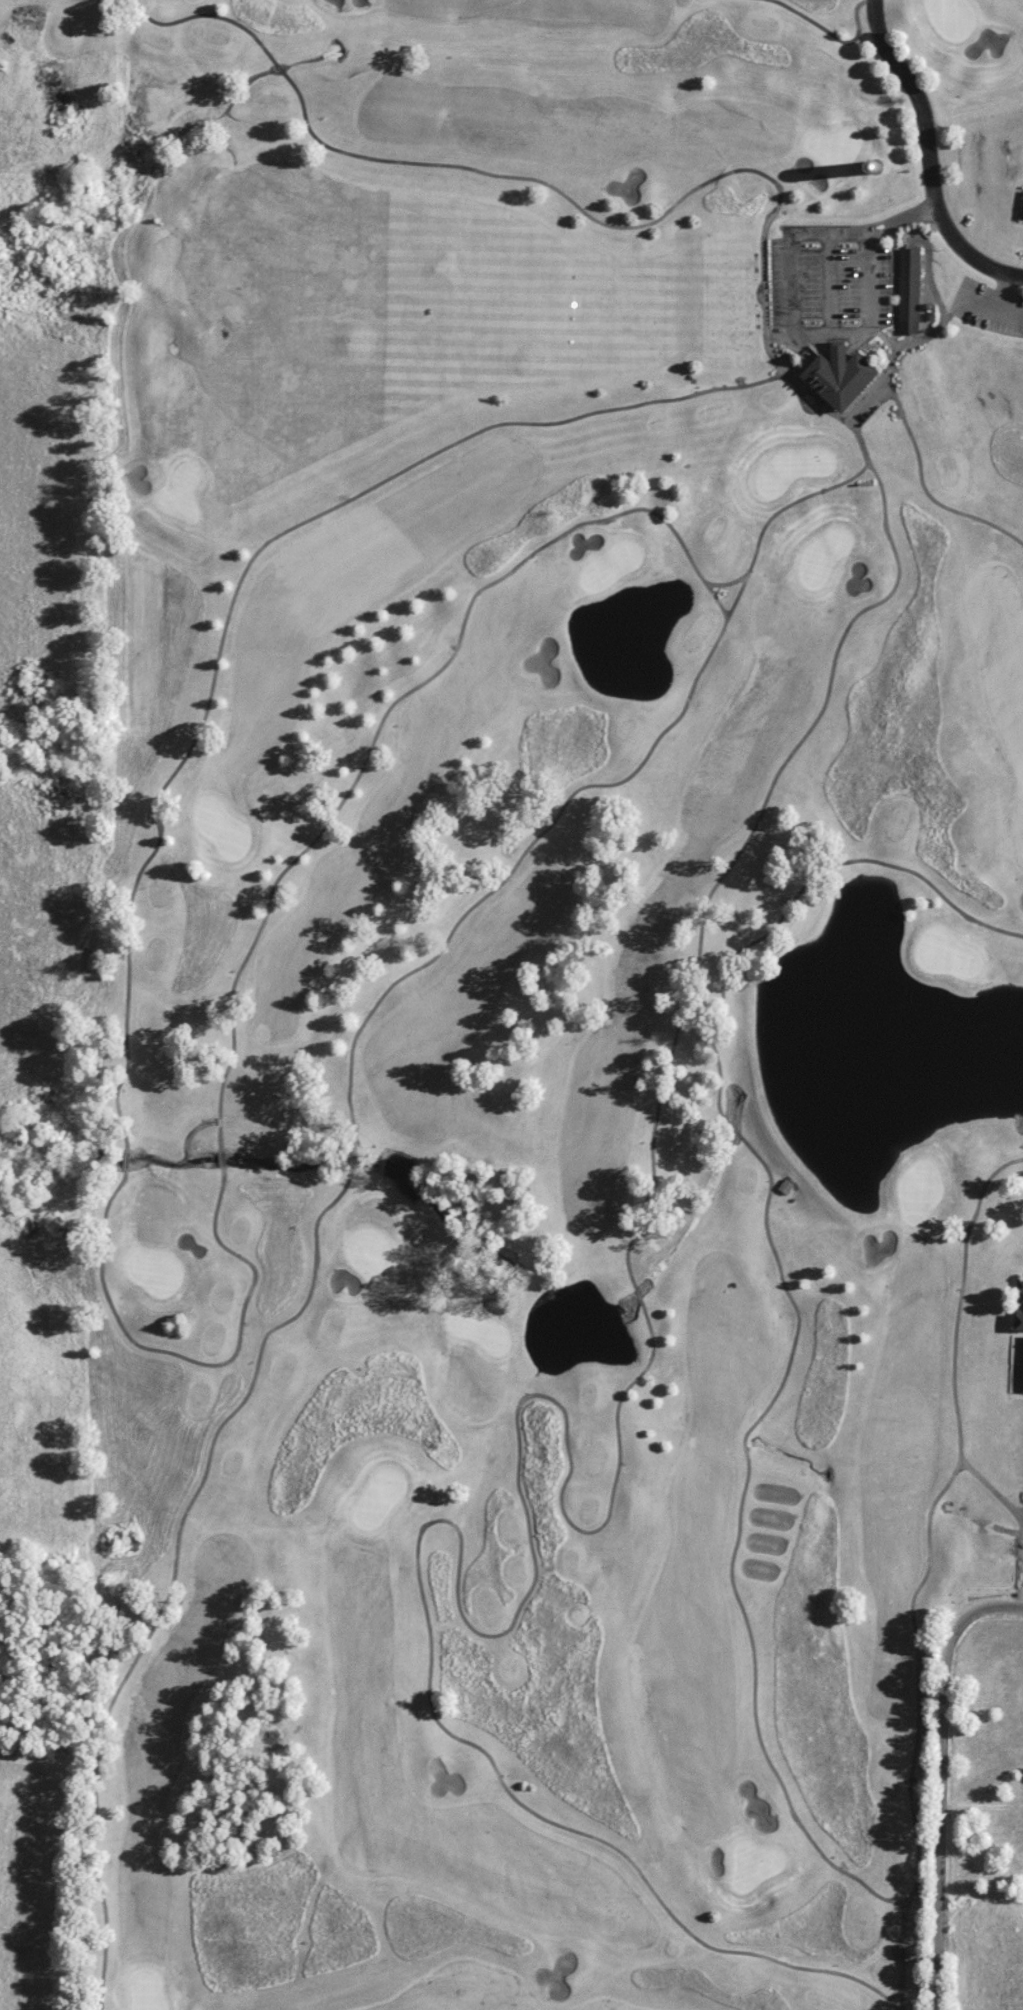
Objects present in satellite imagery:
road: (796, 12)
road: (854, 36)
road: (931, 155)
building: (873, 166)
road: (565, 196)
building: (1019, 213)
road: (828, 275)
parking lot: (828, 277)
road: (929, 280)
building: (903, 290)
road: (999, 298)
road: (824, 326)
road: (911, 339)
road: (779, 376)
building: (829, 376)
road: (880, 377)
road: (921, 487)
road: (528, 555)
road: (698, 571)
road: (241, 578)
road: (717, 598)
road: (837, 646)
road: (584, 785)
road: (274, 884)
road: (795, 894)
park: (513, 1005)
park: (509, 1012)
road: (661, 1080)
building: (1016, 1303)
road: (190, 1359)
building: (1019, 1365)
road: (986, 1485)
road: (933, 1501)
road: (459, 1535)
road: (731, 1554)
road: (175, 1572)
road: (943, 1782)
road: (983, 1807)
building: (914, 1953)
road: (900, 1954)
road: (893, 1991)

